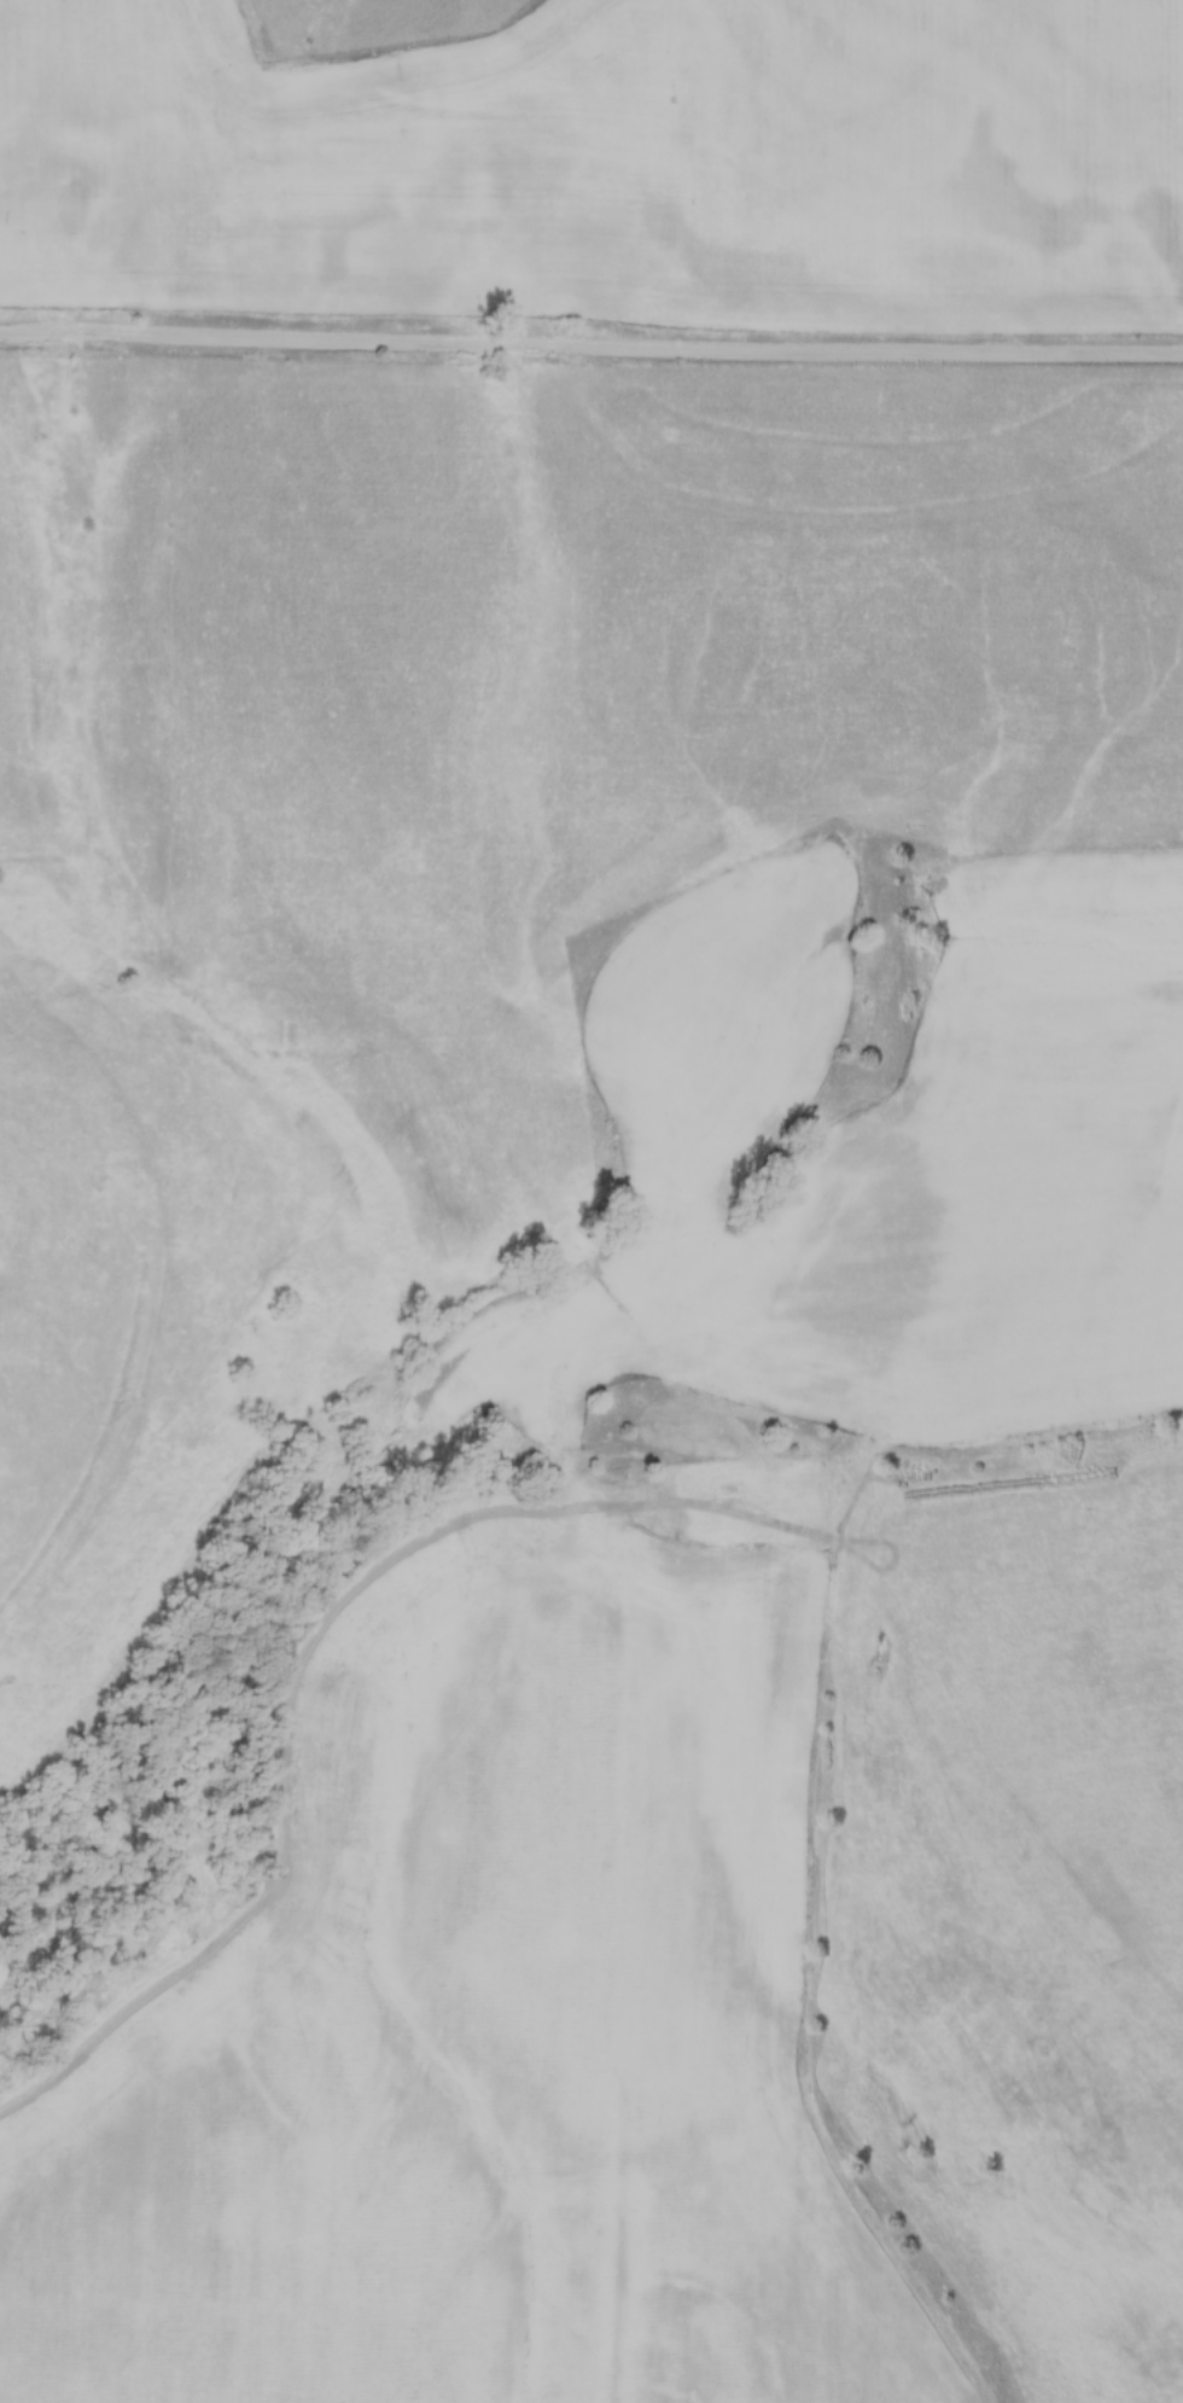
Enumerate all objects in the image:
road: (590, 347)

